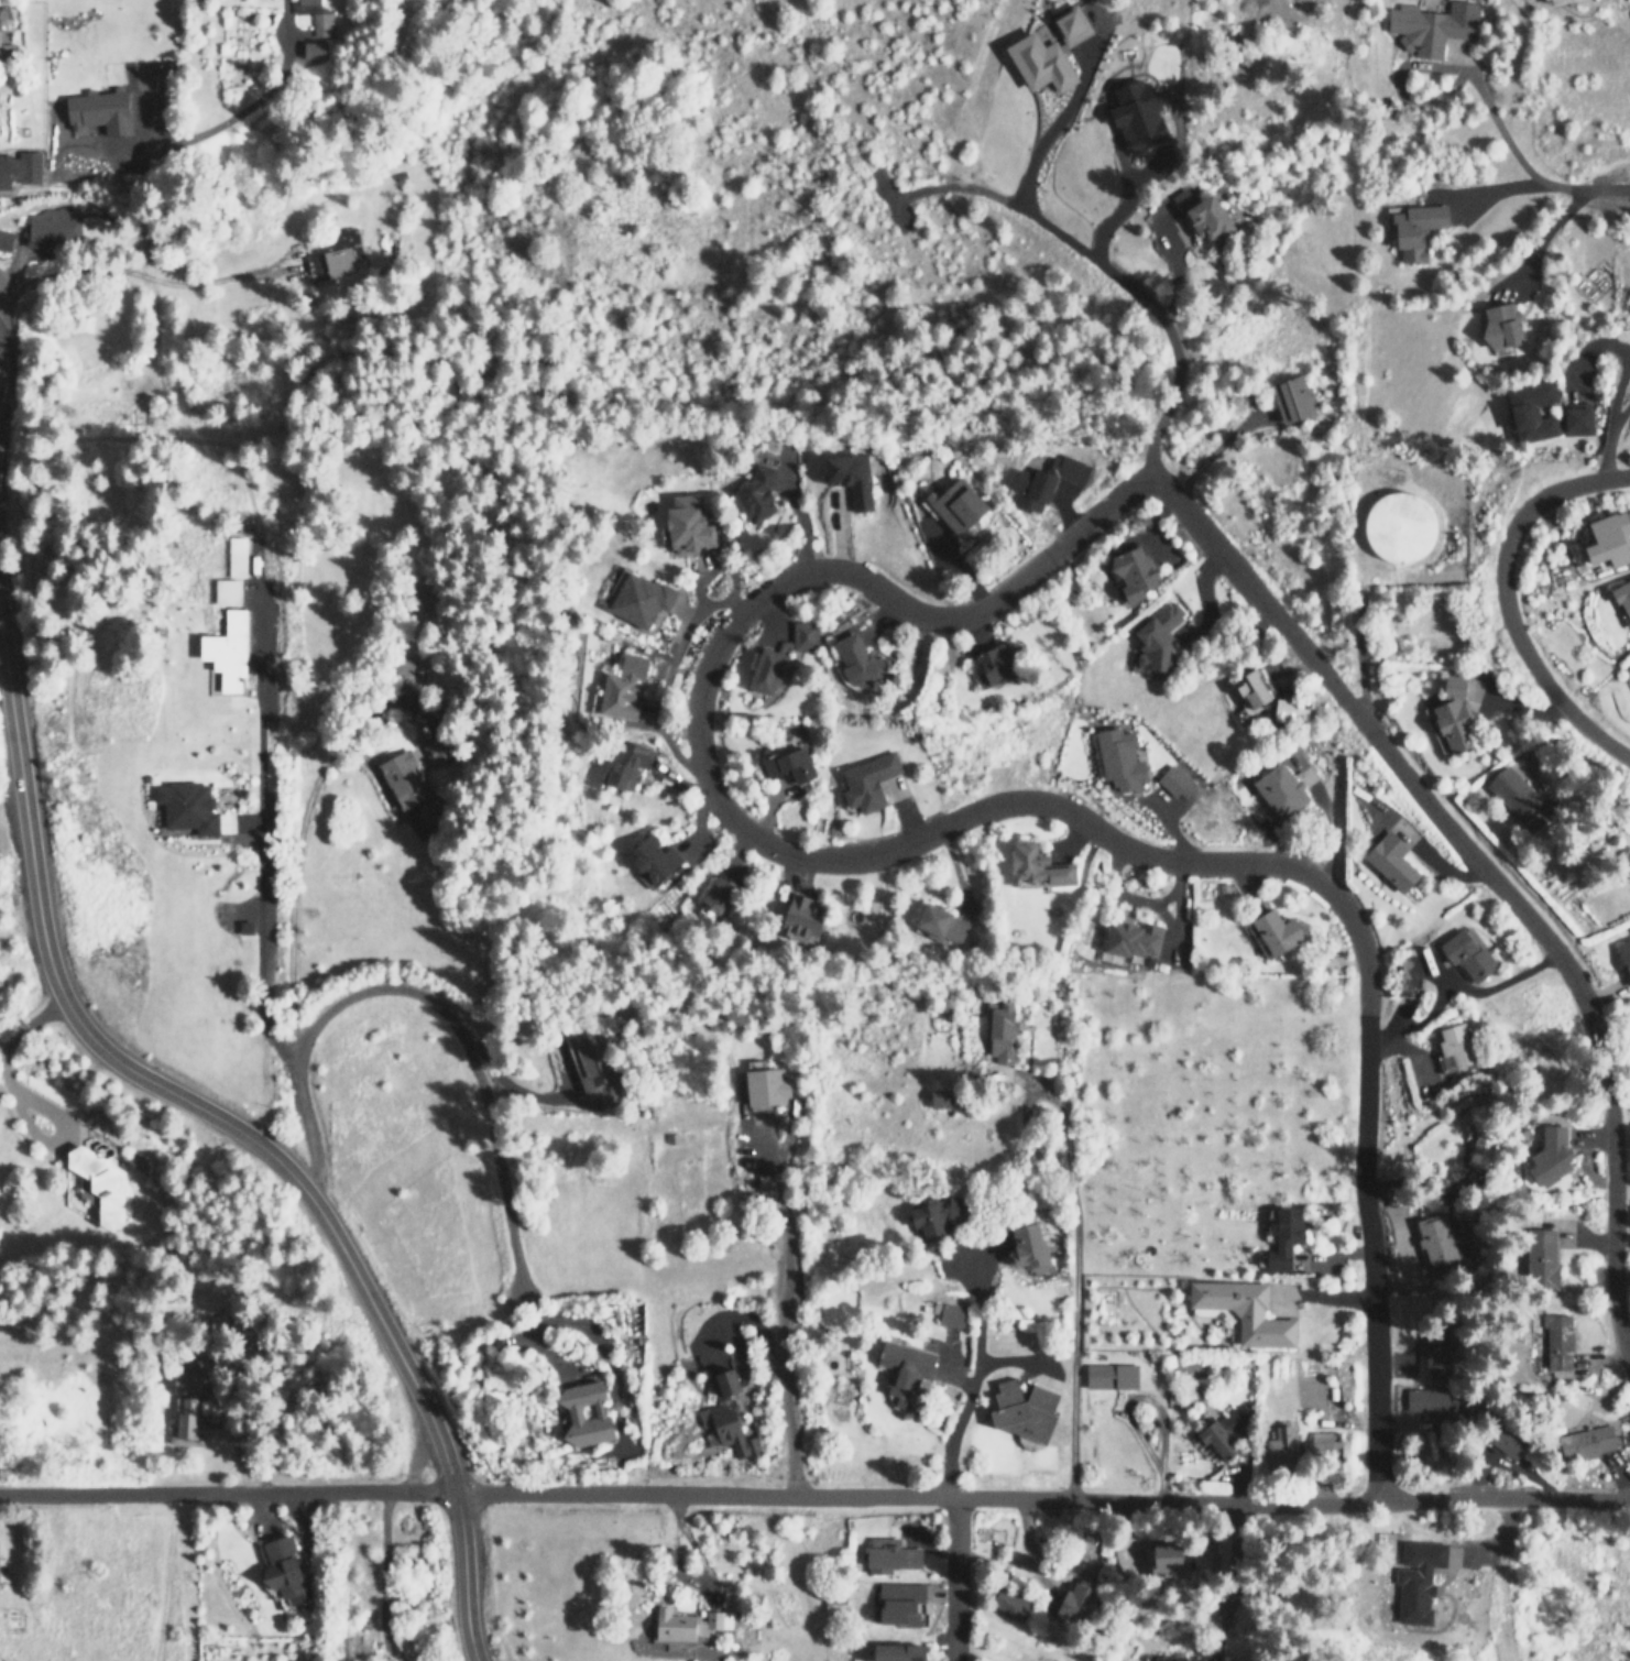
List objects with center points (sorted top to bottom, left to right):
building: (1543, 1)
building: (1553, 1)
road: (288, 24)
building: (1429, 28)
road: (1476, 97)
road: (220, 120)
road: (1599, 186)
building: (1408, 229)
road: (1103, 267)
road: (134, 276)
road: (0, 281)
building: (1502, 324)
road: (1623, 369)
building: (1530, 409)
road: (1619, 413)
building: (1575, 419)
building: (1394, 526)
storage tank: (1394, 526)
building: (1608, 538)
building: (1622, 594)
road: (1503, 599)
road: (1352, 655)
road: (699, 671)
building: (1447, 715)
building: (1517, 797)
road: (256, 839)
road: (287, 899)
road: (430, 1001)
road: (1585, 1007)
road: (242, 1133)
road: (1361, 1220)
road: (1619, 1271)
road: (780, 1347)
road: (962, 1389)
road: (226, 1494)
road: (1040, 1494)
road: (1234, 1555)
road: (951, 1567)

